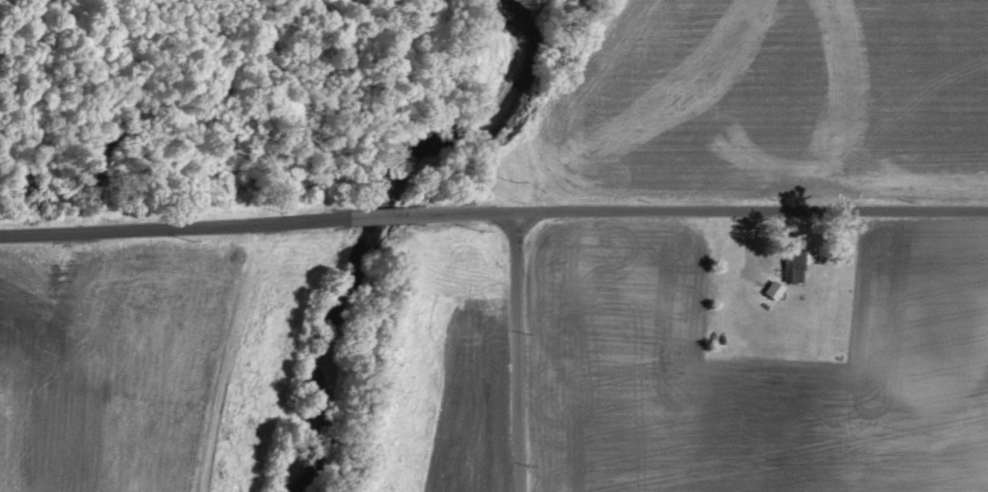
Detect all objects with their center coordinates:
road: (697, 207)
river: (375, 215)
road: (366, 216)
road: (162, 225)
building: (797, 269)
building: (776, 289)
road: (516, 350)

